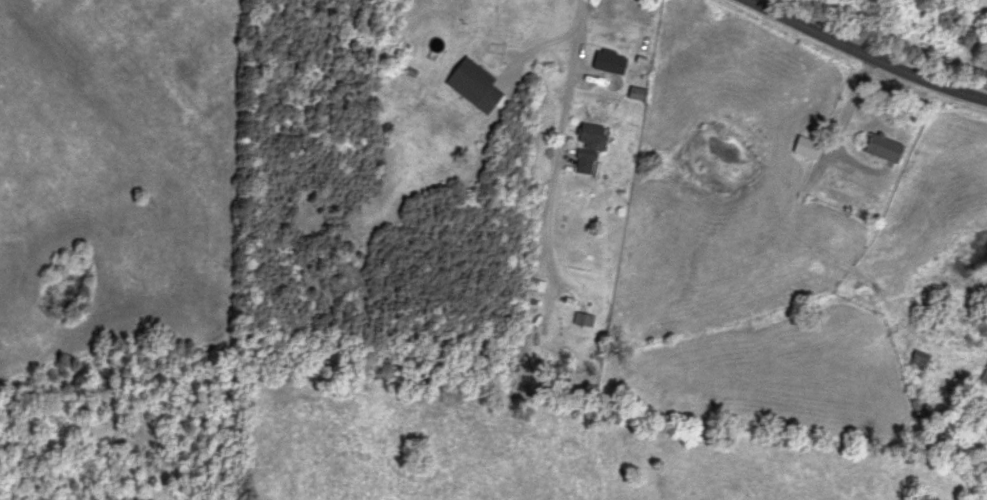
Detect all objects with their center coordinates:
road: (868, 52)
building: (607, 61)
building: (635, 93)
road: (559, 128)
building: (586, 147)
building: (804, 147)
building: (881, 147)
building: (583, 319)
building: (933, 322)
building: (918, 359)
building: (984, 377)

